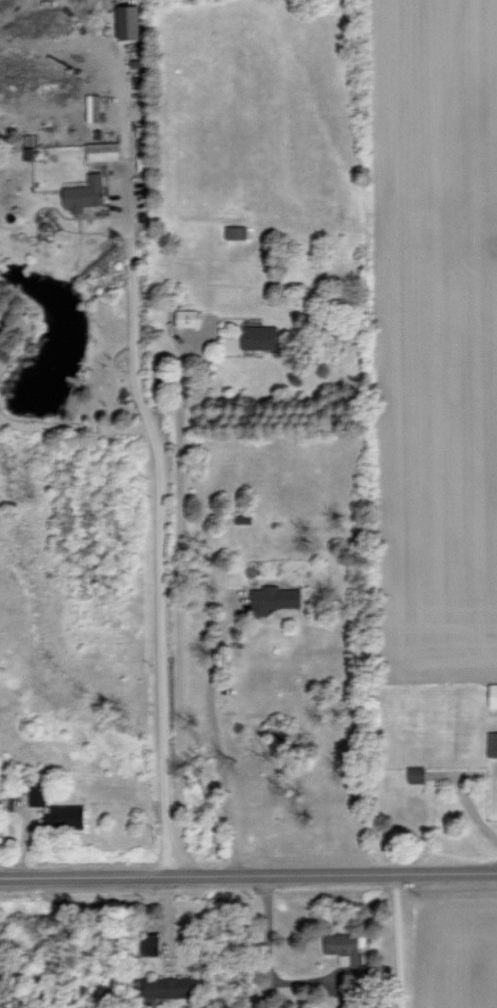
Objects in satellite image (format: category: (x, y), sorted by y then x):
building: (129, 21)
building: (104, 151)
building: (86, 193)
building: (187, 318)
building: (260, 337)
road: (156, 468)
building: (274, 599)
road: (182, 611)
building: (493, 695)
road: (219, 741)
building: (492, 744)
building: (417, 774)
building: (39, 793)
road: (14, 807)
building: (66, 816)
road: (248, 879)
road: (267, 943)
road: (399, 943)
building: (355, 959)
building: (168, 987)

